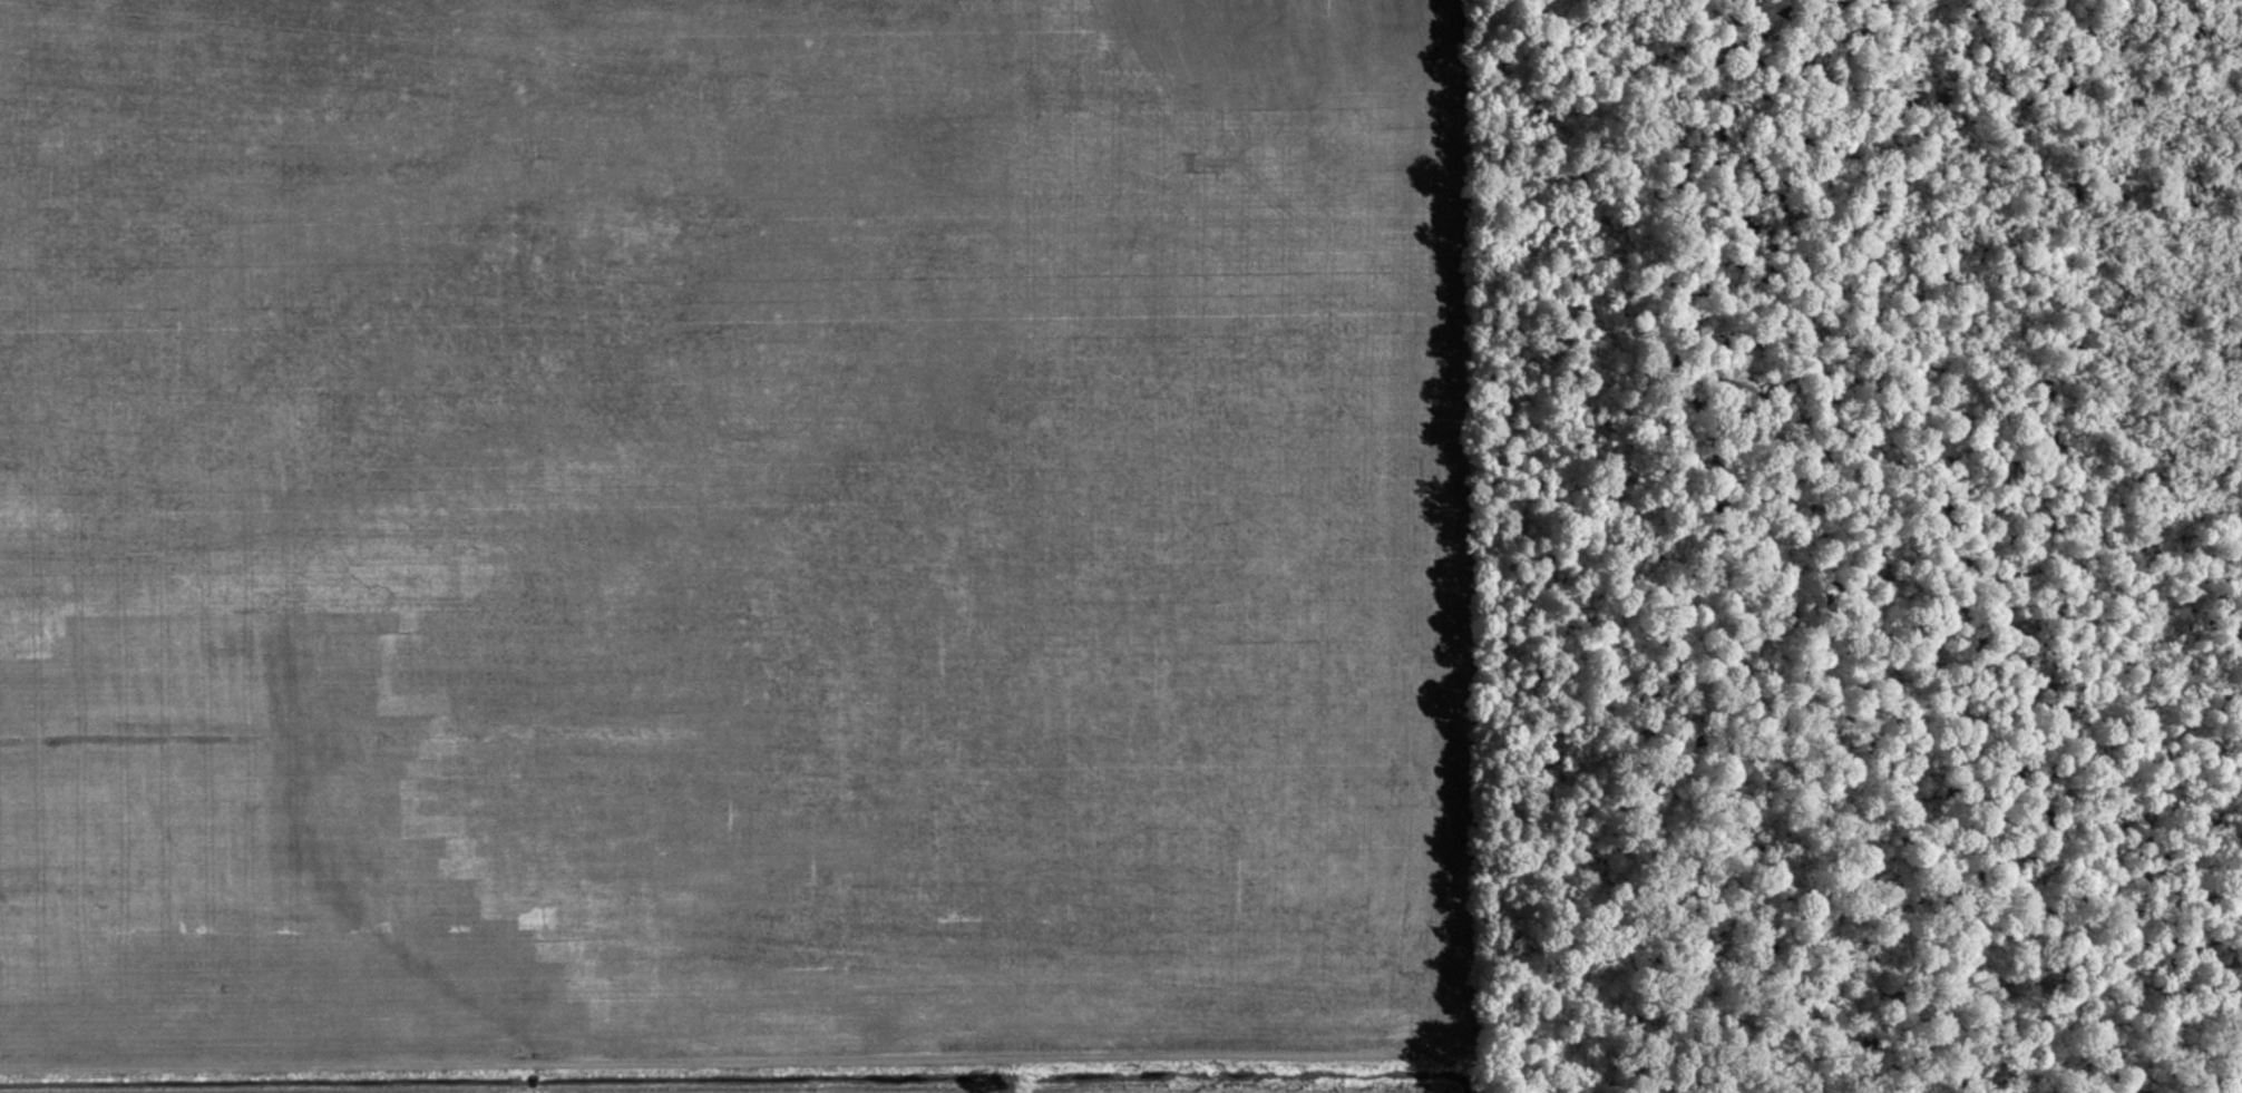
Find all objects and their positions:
road: (2134, 25)
park: (1864, 546)

